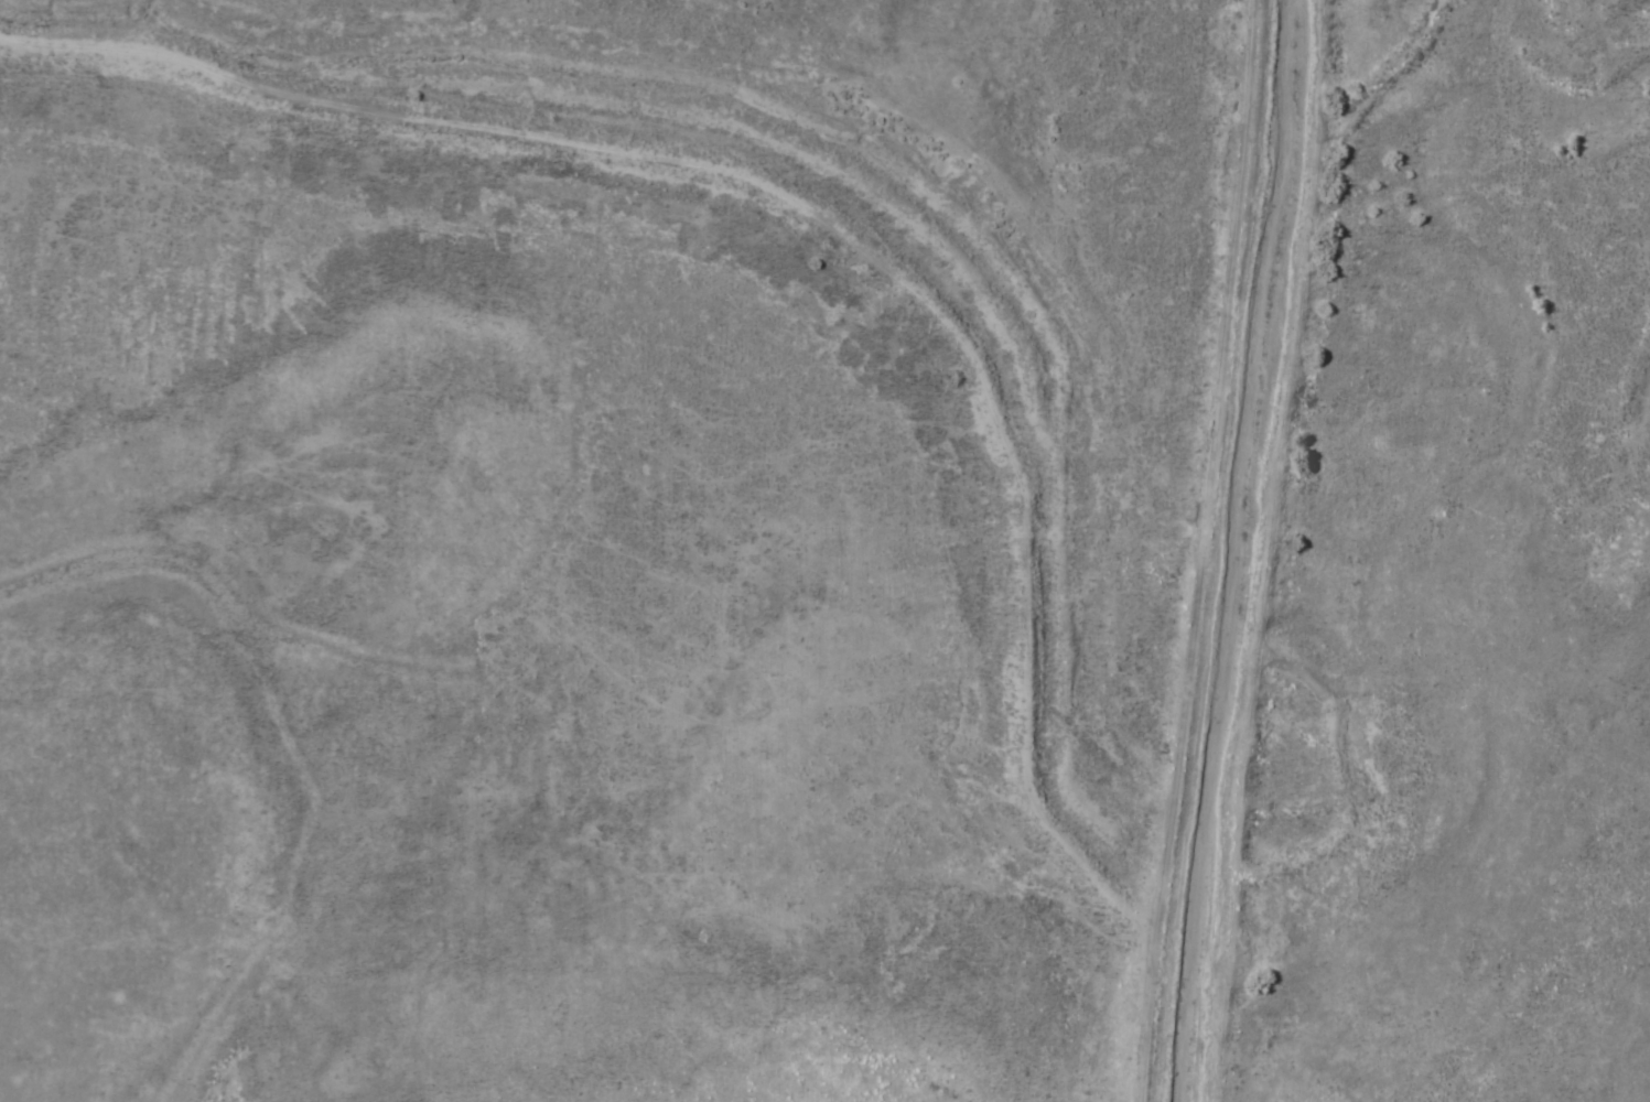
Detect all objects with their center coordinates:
road: (1178, 551)
road: (1286, 930)

